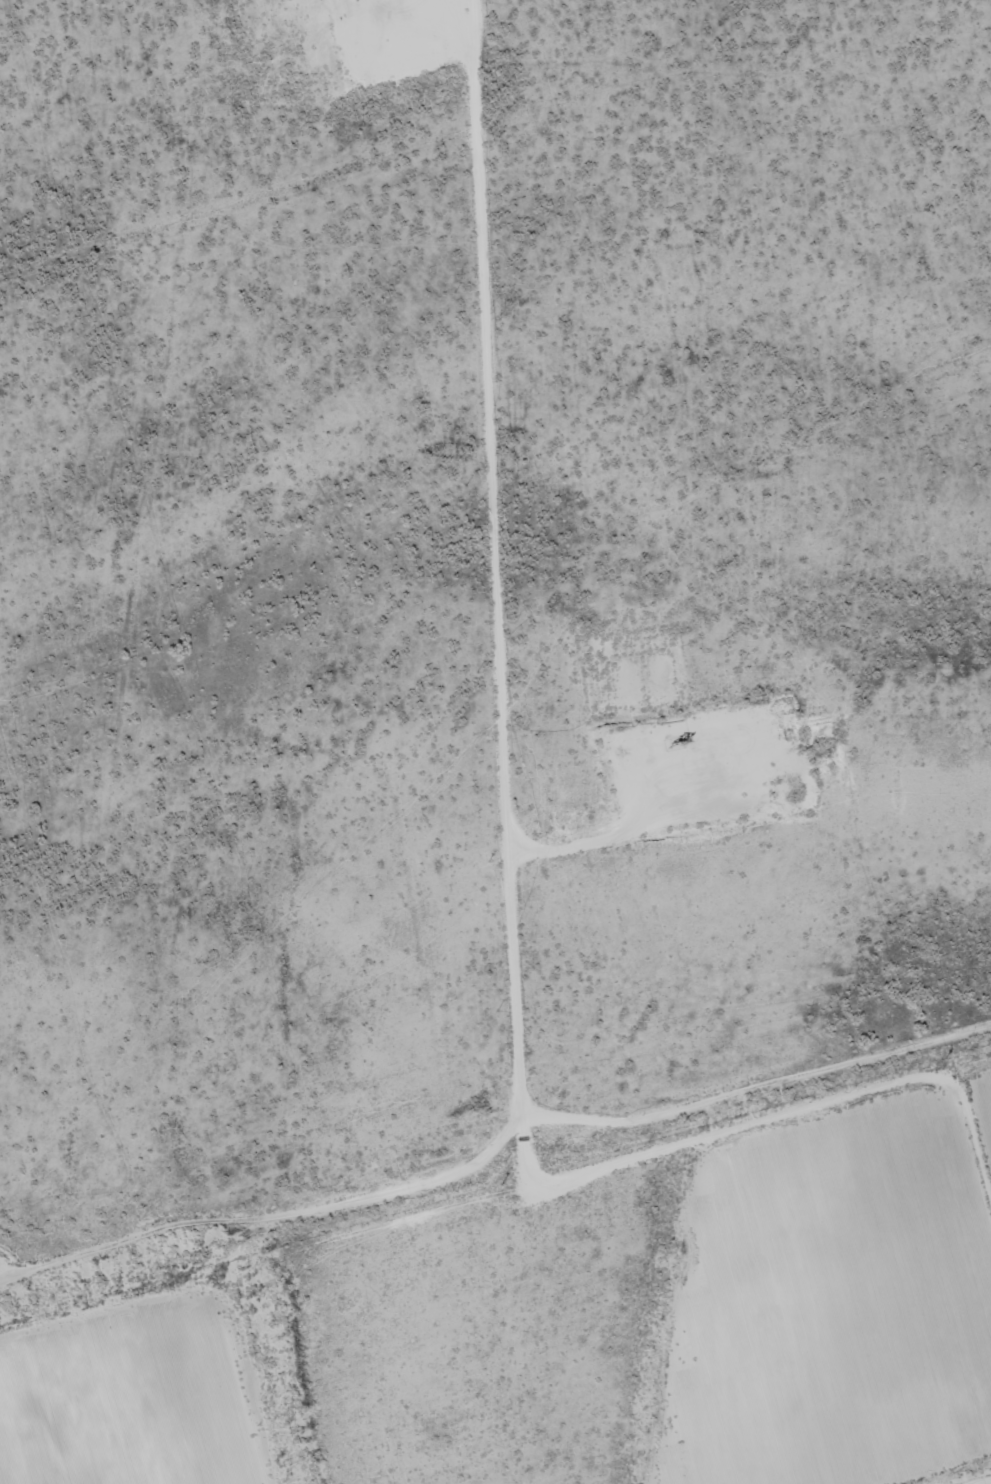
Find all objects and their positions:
river: (468, 623)

